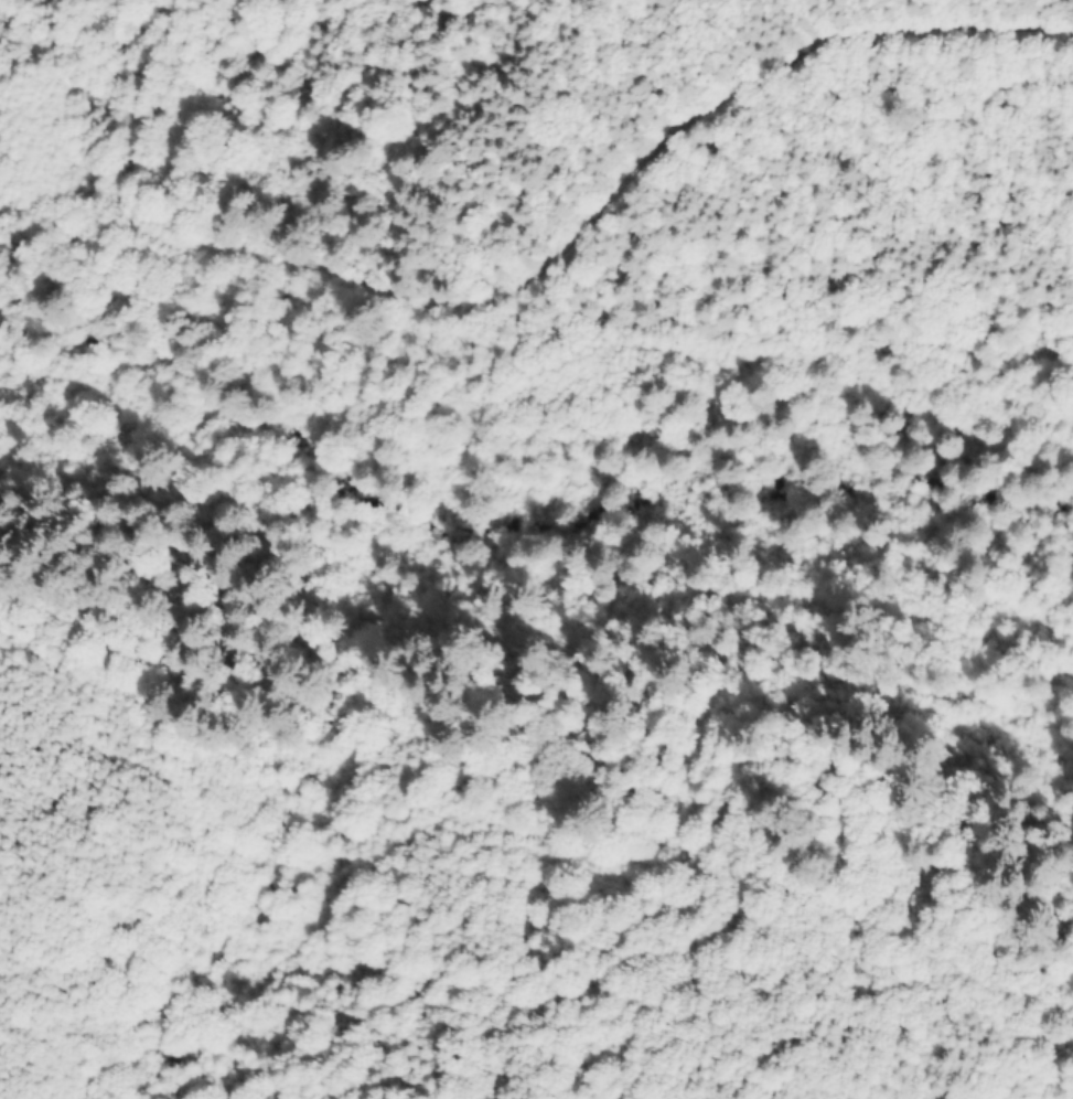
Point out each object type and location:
road: (637, 162)

